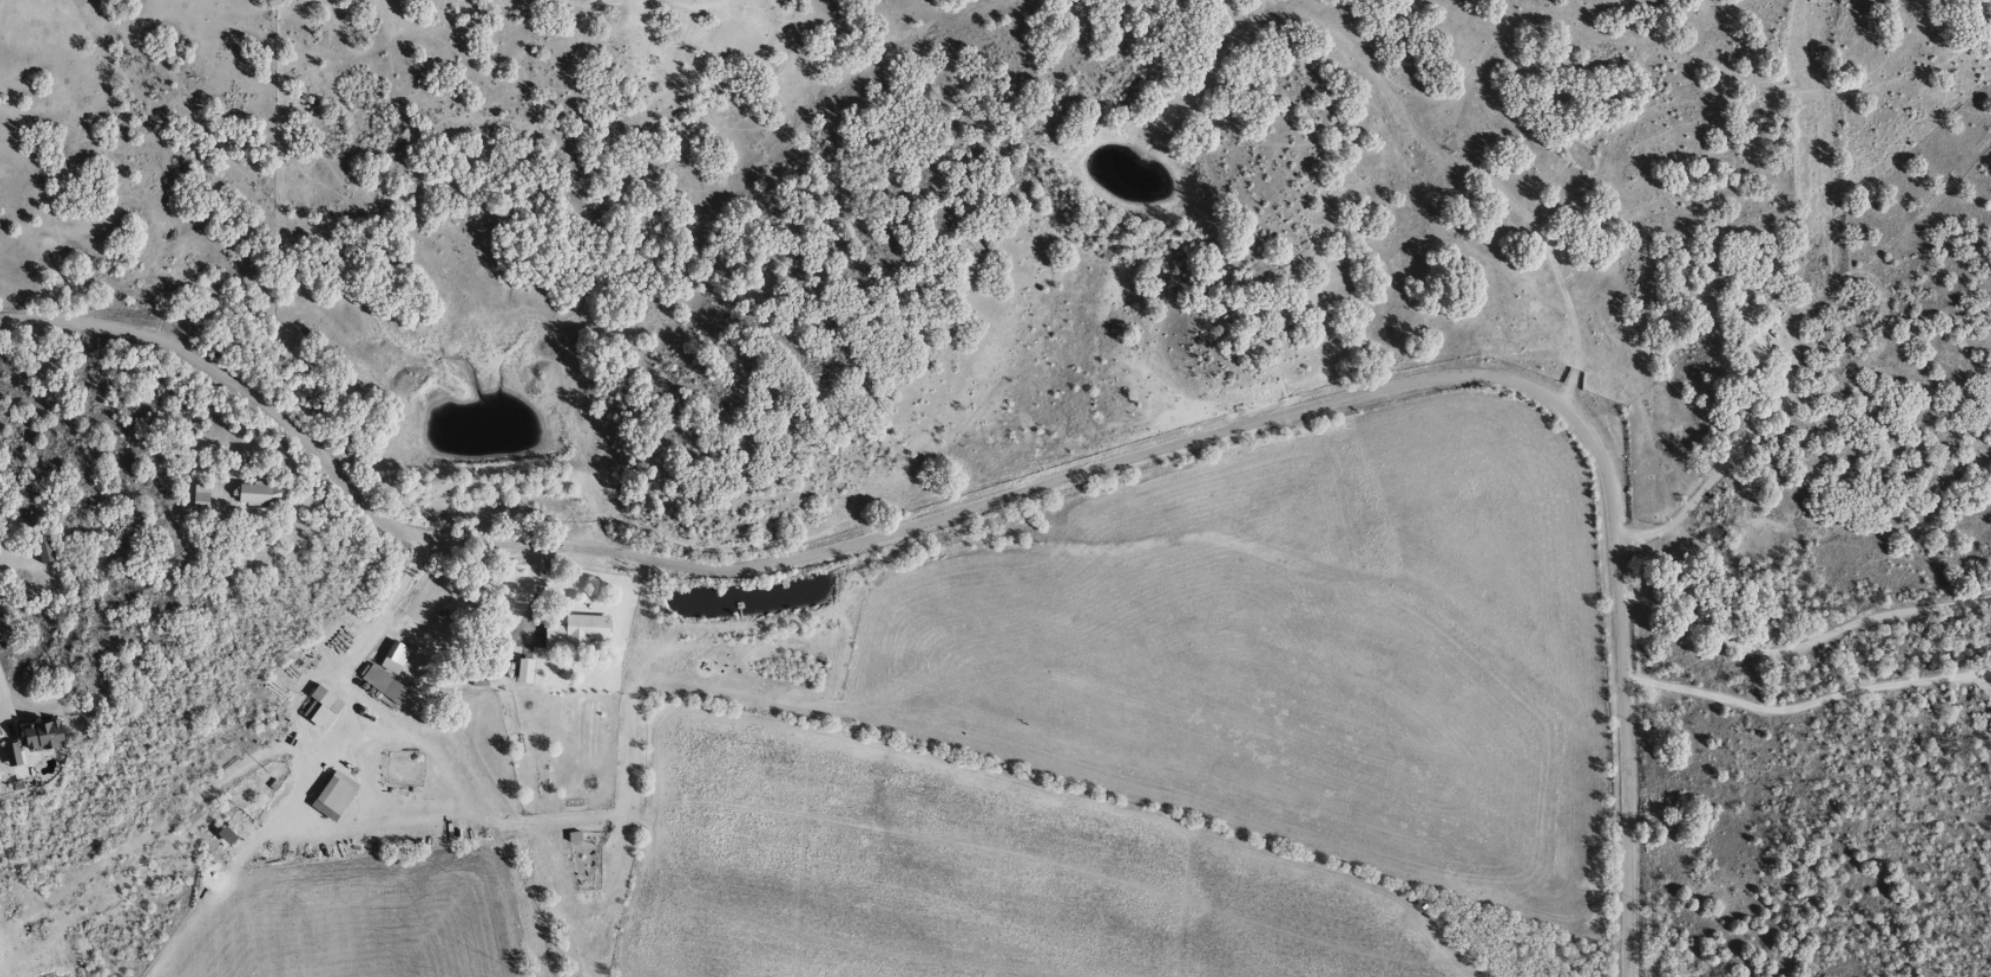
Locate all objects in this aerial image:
road: (1225, 49)
road: (1293, 52)
road: (1183, 156)
building: (1751, 348)
road: (1049, 457)
building: (256, 493)
building: (197, 497)
building: (41, 548)
building: (574, 632)
building: (392, 657)
building: (521, 670)
building: (381, 686)
building: (318, 707)
building: (37, 735)
building: (331, 795)

